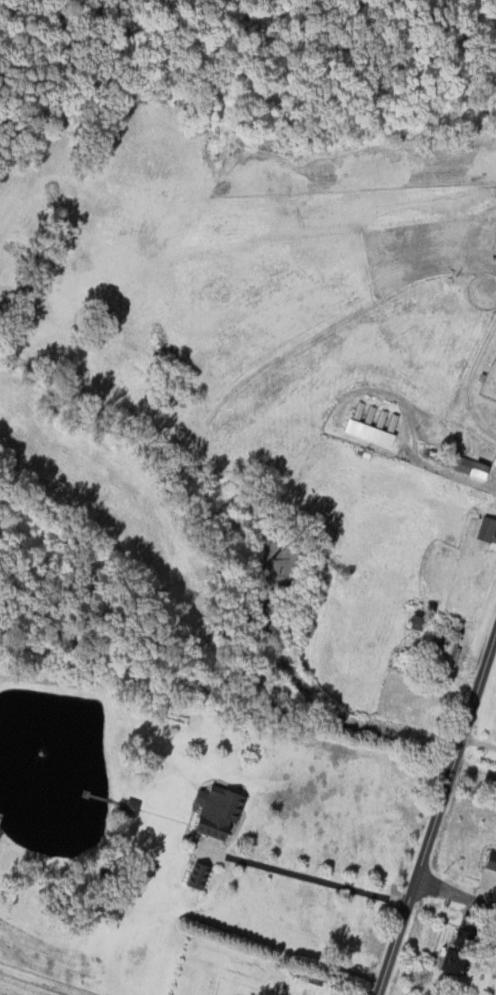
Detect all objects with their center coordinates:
road: (470, 379)
building: (367, 432)
building: (494, 460)
building: (467, 466)
road: (449, 472)
building: (486, 531)
building: (445, 651)
road: (479, 741)
road: (474, 768)
building: (131, 806)
building: (215, 811)
road: (436, 813)
building: (491, 861)
building: (195, 875)
road: (305, 876)
road: (455, 892)
building: (455, 951)

